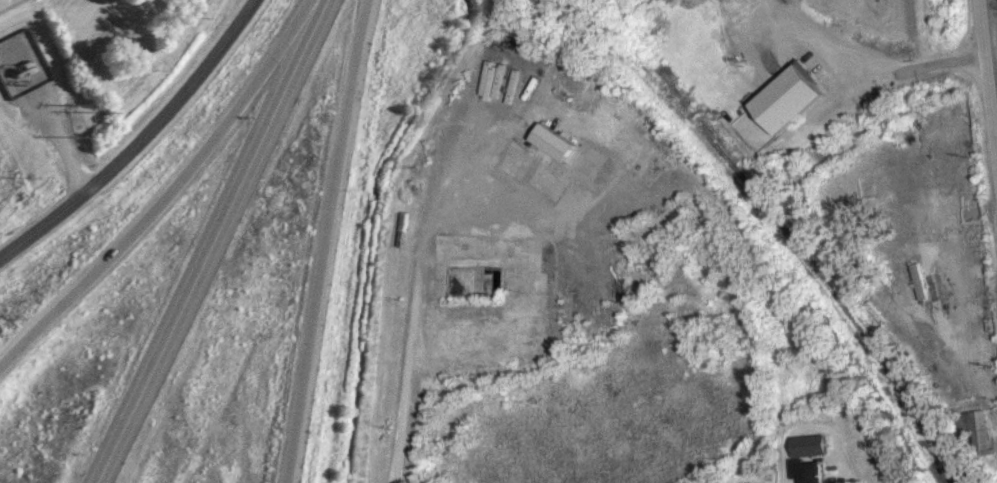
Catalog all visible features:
road: (869, 60)
building: (22, 64)
road: (988, 79)
building: (727, 98)
building: (793, 98)
road: (140, 141)
road: (62, 142)
road: (169, 192)
railway: (785, 226)
road: (323, 240)
road: (213, 242)
road: (406, 300)
road: (834, 428)
building: (982, 430)
building: (811, 446)
building: (809, 471)

